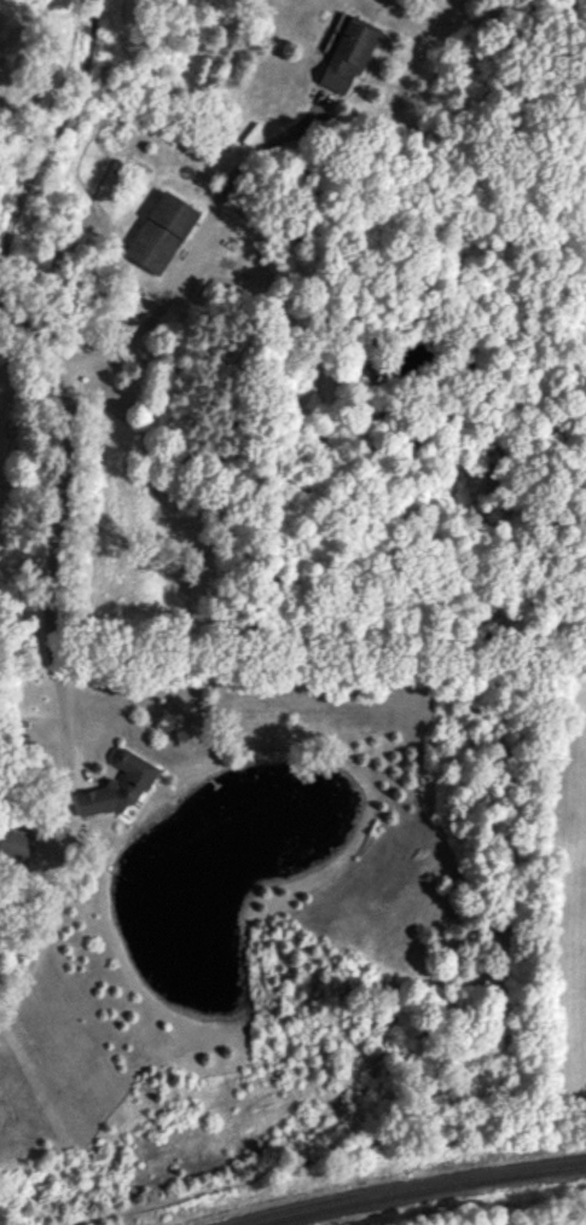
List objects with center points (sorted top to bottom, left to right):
building: (348, 53)
building: (161, 232)
road: (197, 252)
road: (35, 337)
road: (52, 553)
building: (117, 785)
building: (16, 843)
crop: (564, 946)
railway: (362, 1174)

